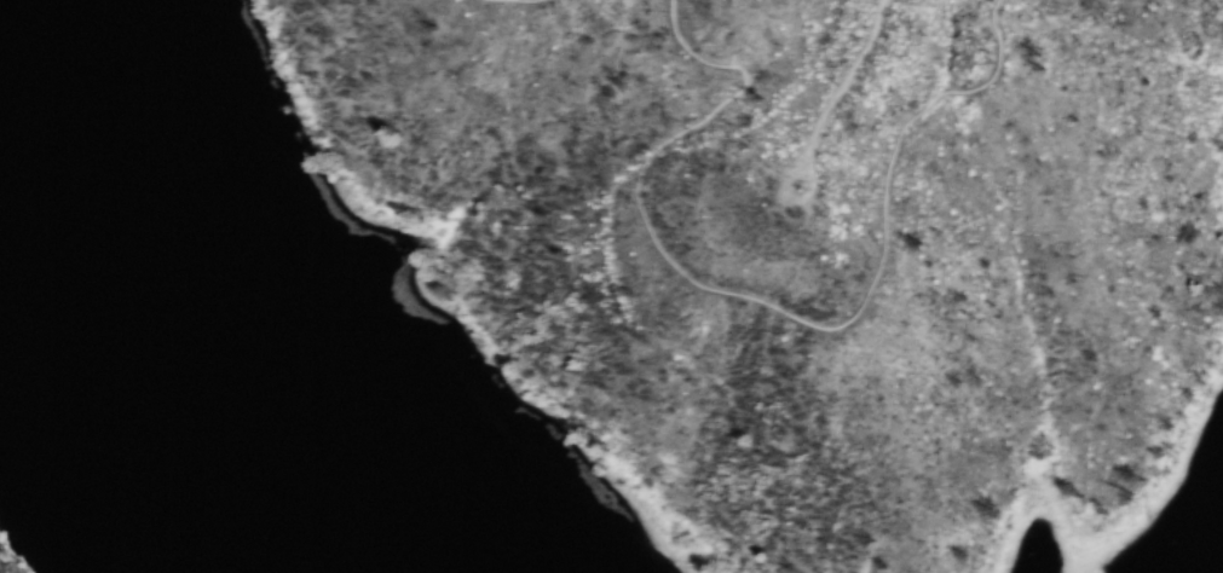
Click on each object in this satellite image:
road: (842, 85)
road: (815, 180)
road: (779, 311)
river: (171, 324)

